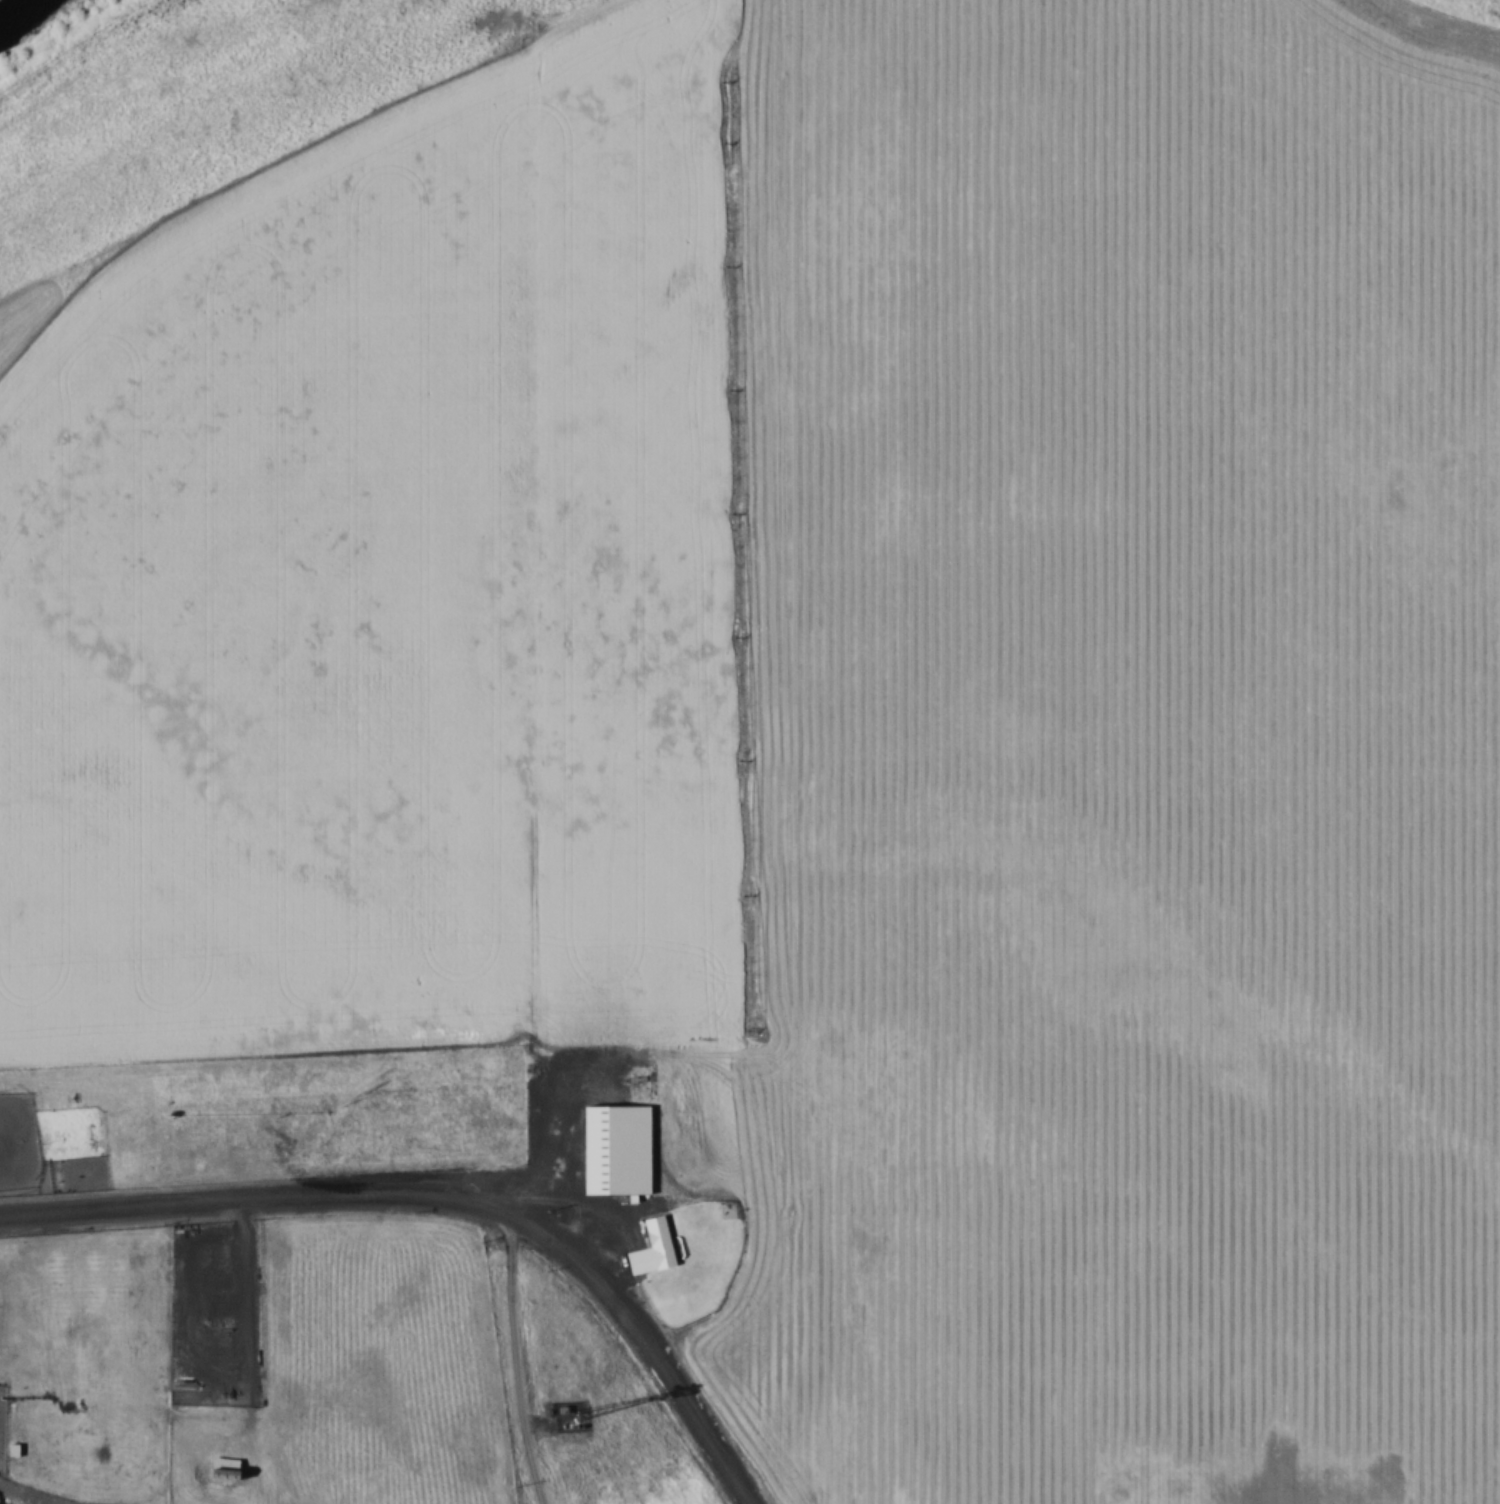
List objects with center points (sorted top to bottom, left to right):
river: (15, 9)
crop: (1107, 572)
crop: (401, 578)
building: (614, 1148)
road: (442, 1205)
building: (651, 1246)
crop: (1106, 1269)
road: (519, 1364)
building: (220, 1463)

